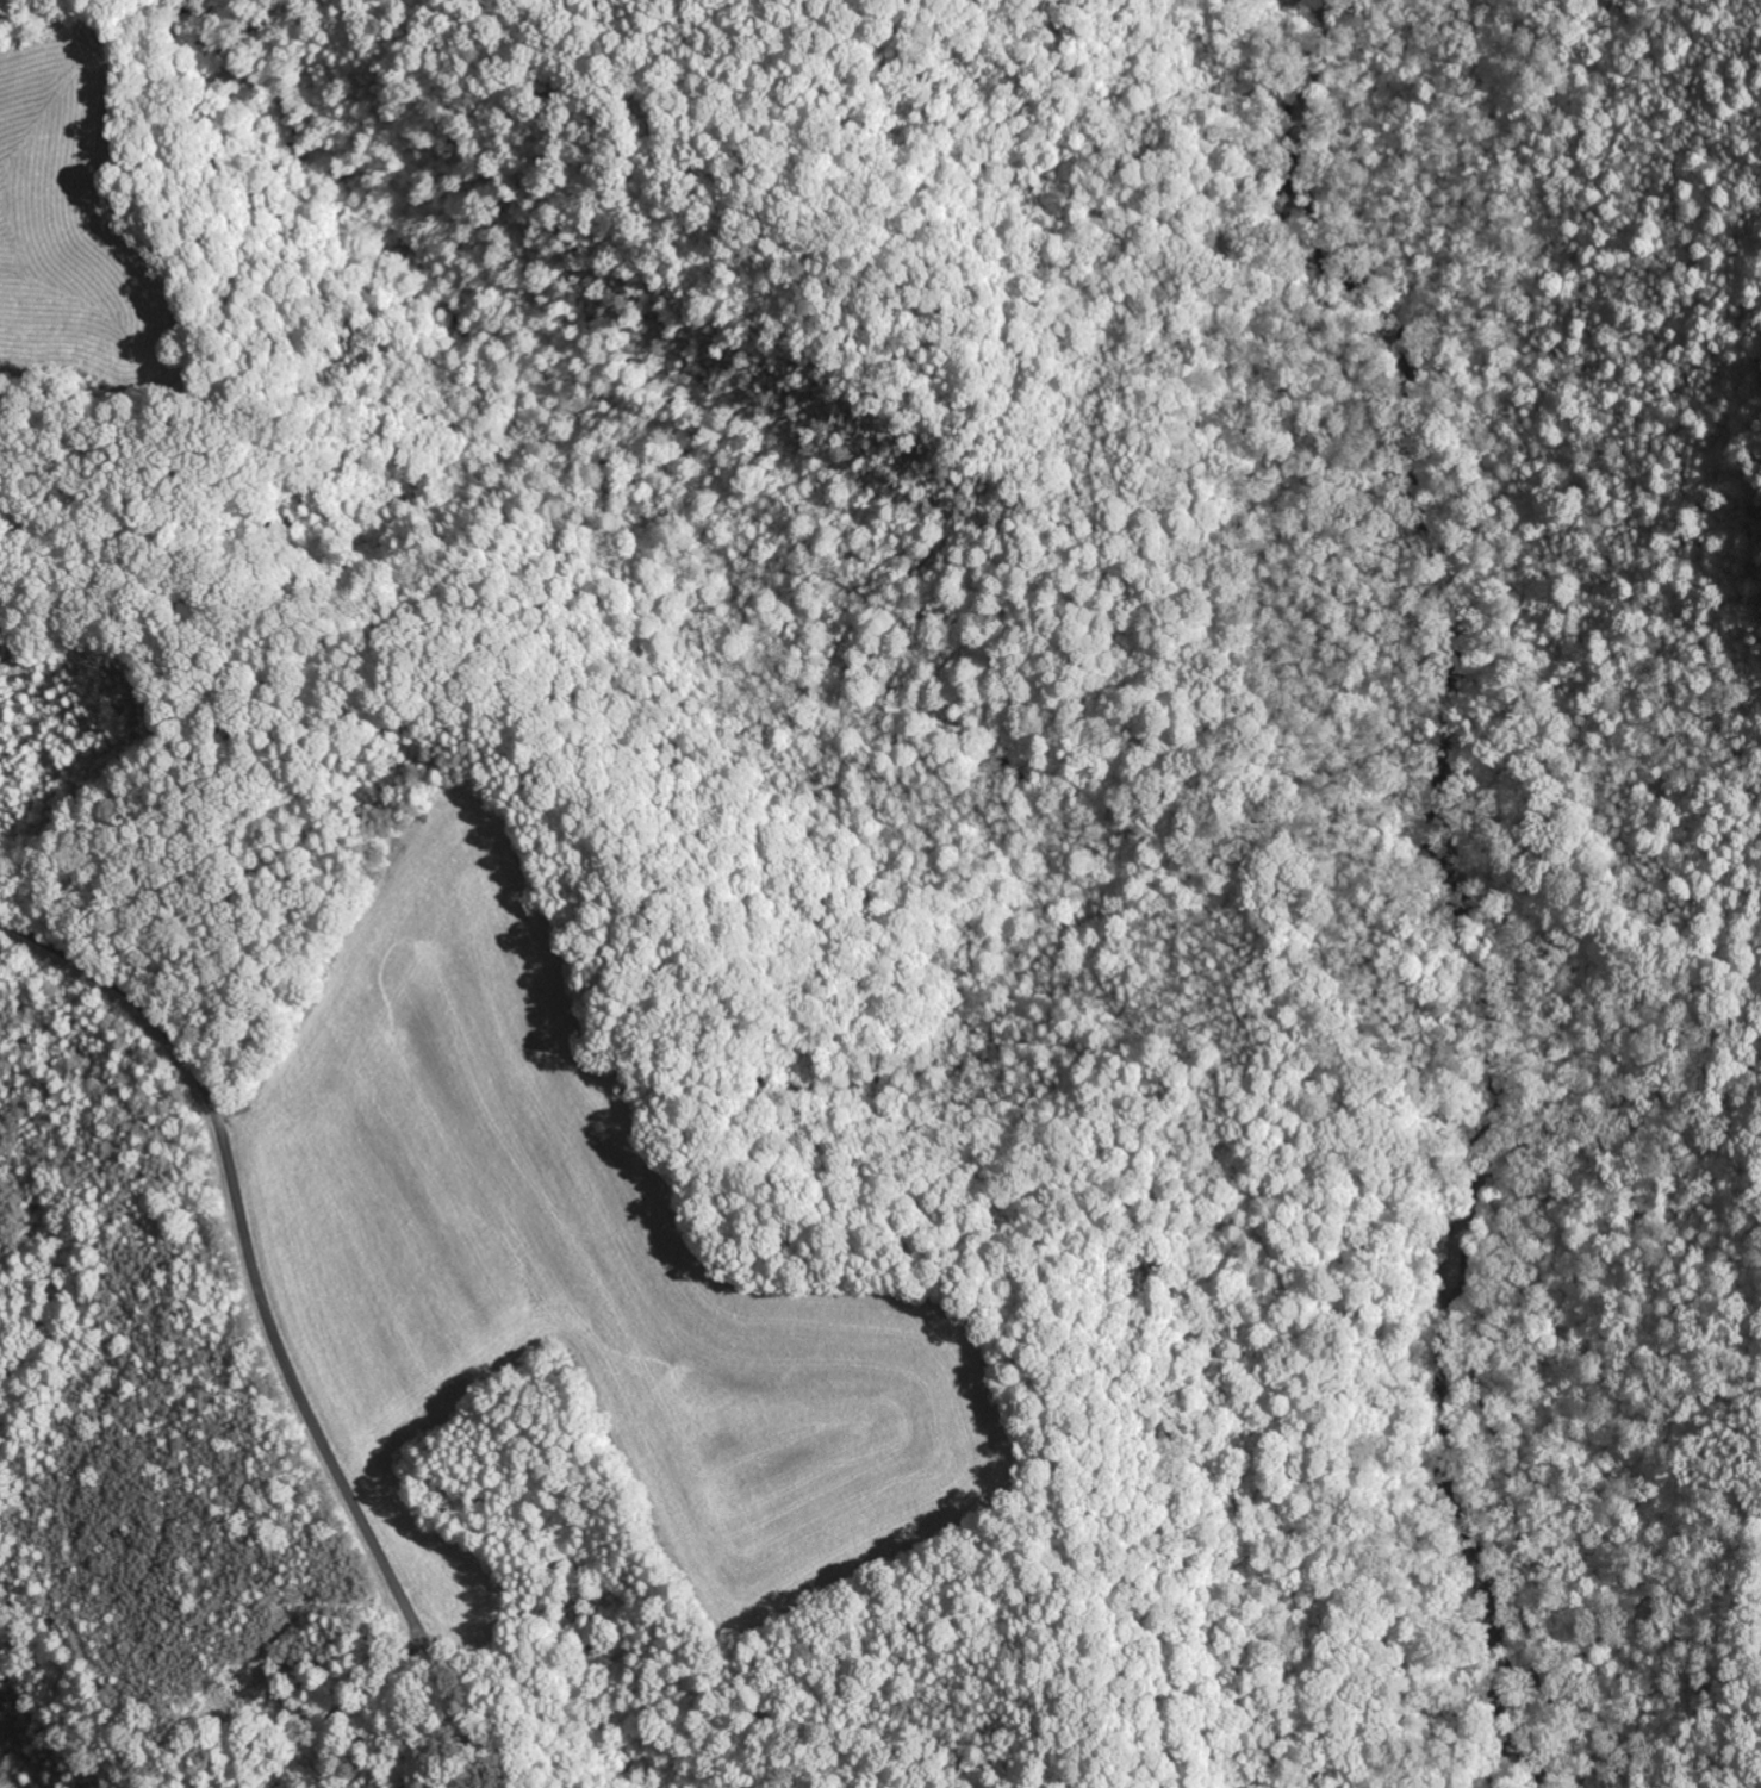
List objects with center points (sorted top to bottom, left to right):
road: (266, 1316)

